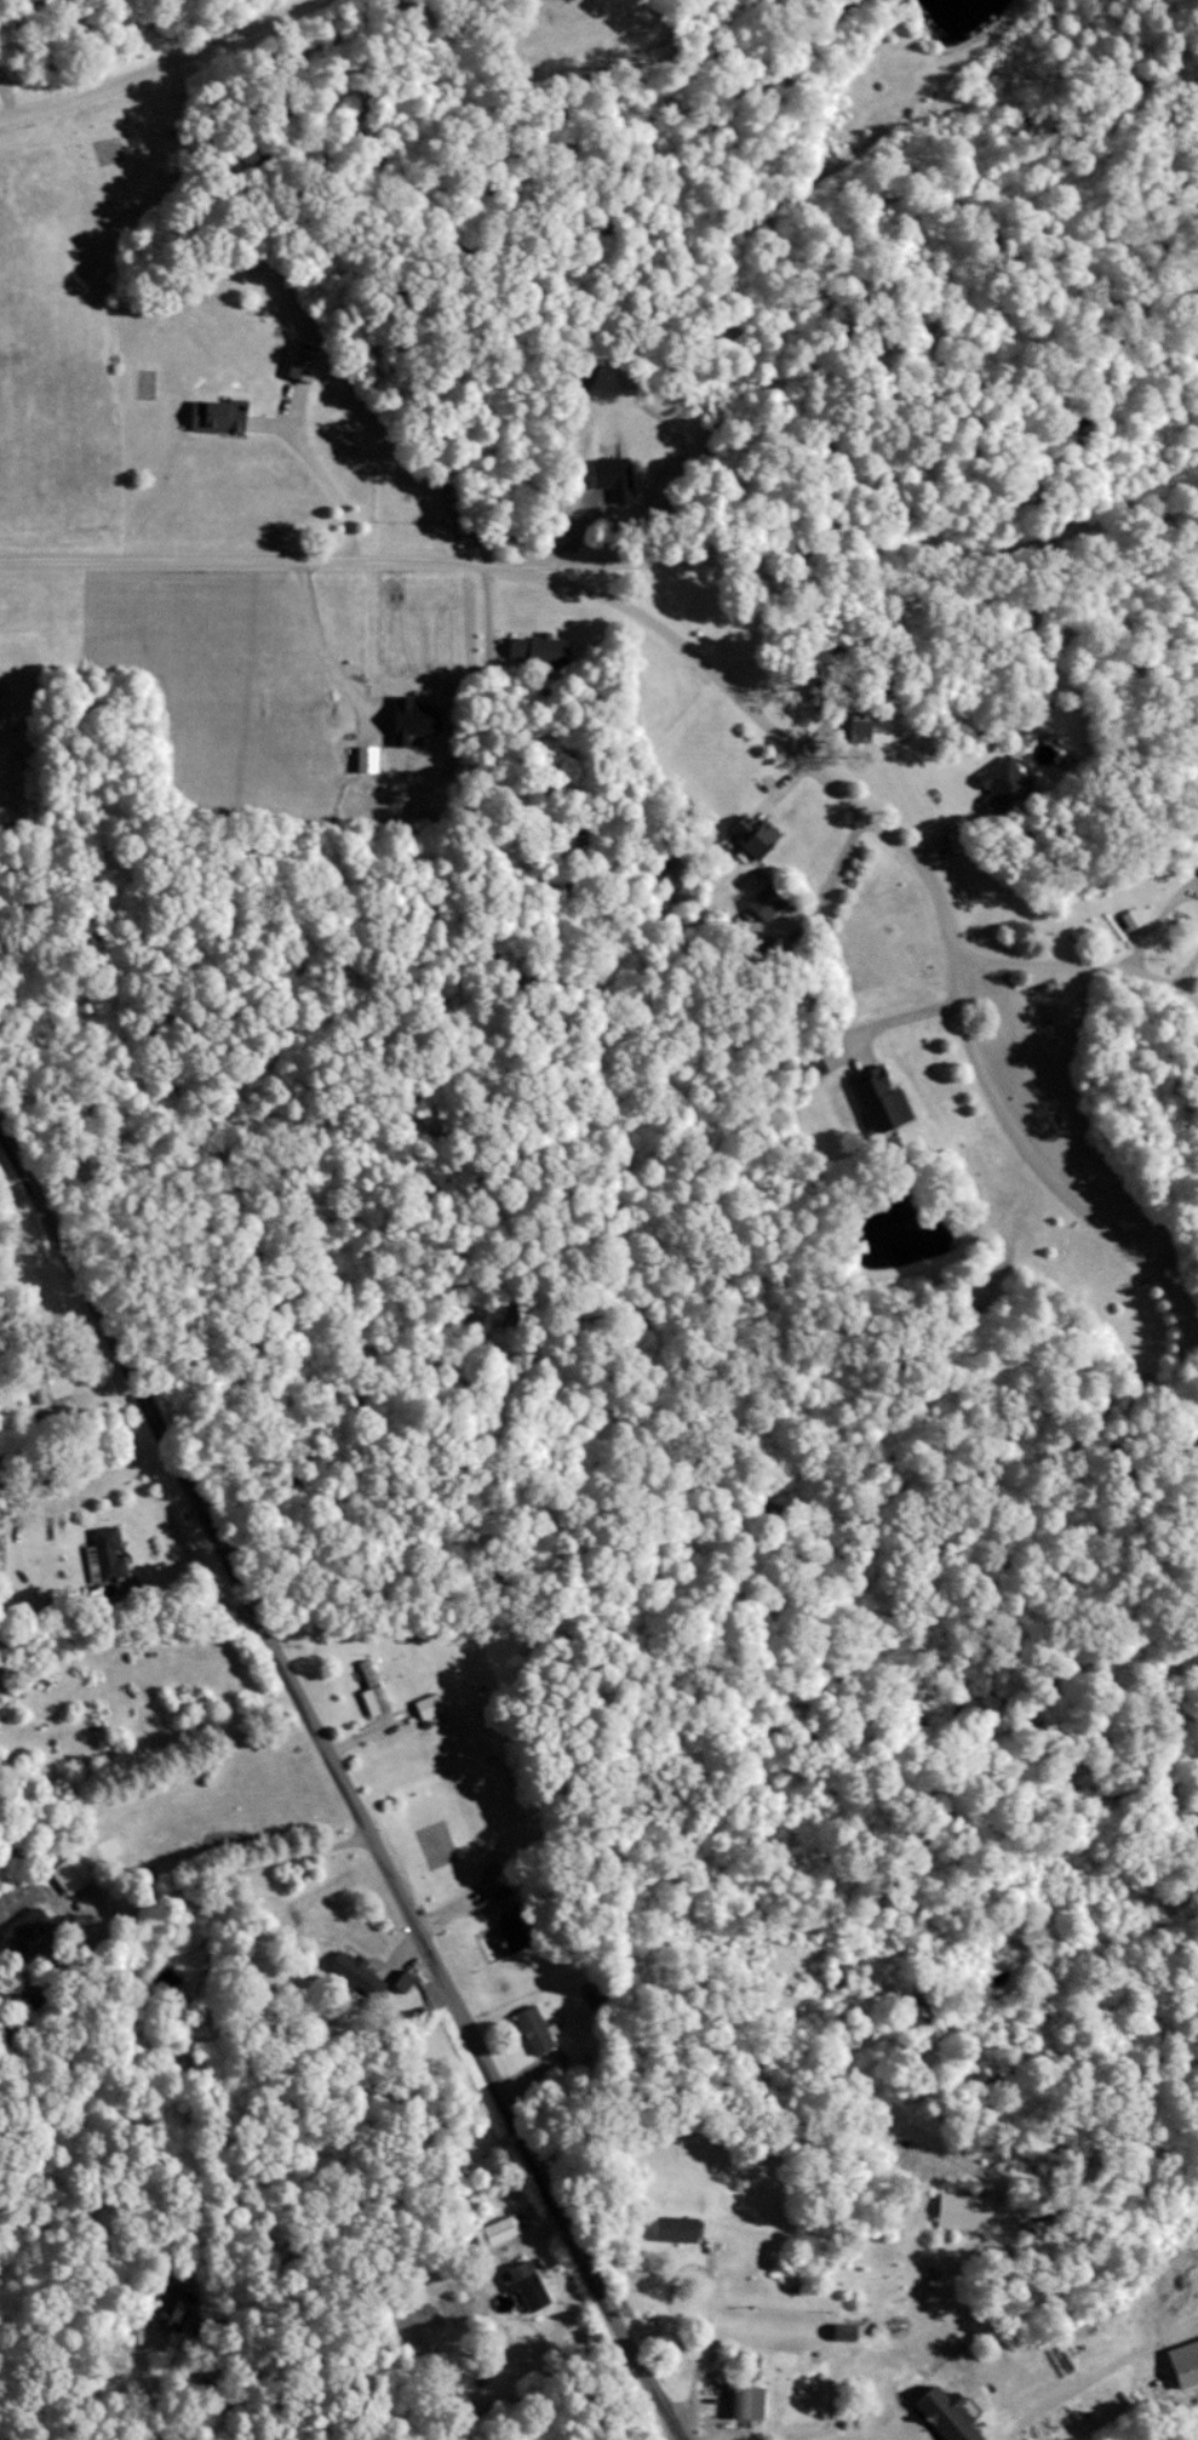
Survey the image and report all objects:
road: (156, 63)
building: (297, 362)
building: (211, 415)
road: (328, 480)
building: (534, 648)
road: (728, 685)
building: (854, 722)
building: (998, 783)
building: (747, 833)
building: (1196, 865)
building: (761, 902)
building: (1128, 918)
road: (1079, 966)
road: (894, 1019)
building: (875, 1098)
road: (1170, 1383)
building: (105, 1552)
road: (130, 1616)
building: (369, 1688)
building: (424, 1705)
road: (340, 1782)
road: (237, 1870)
building: (73, 1874)
building: (27, 1928)
building: (509, 1931)
building: (352, 1972)
building: (400, 1979)
building: (531, 2027)
building: (961, 2210)
building: (670, 2227)
building: (495, 2230)
road: (300, 2255)
building: (522, 2282)
building: (174, 2309)
building: (838, 2328)
road: (836, 2360)
building: (1182, 2361)
building: (741, 2400)
building: (942, 2415)

